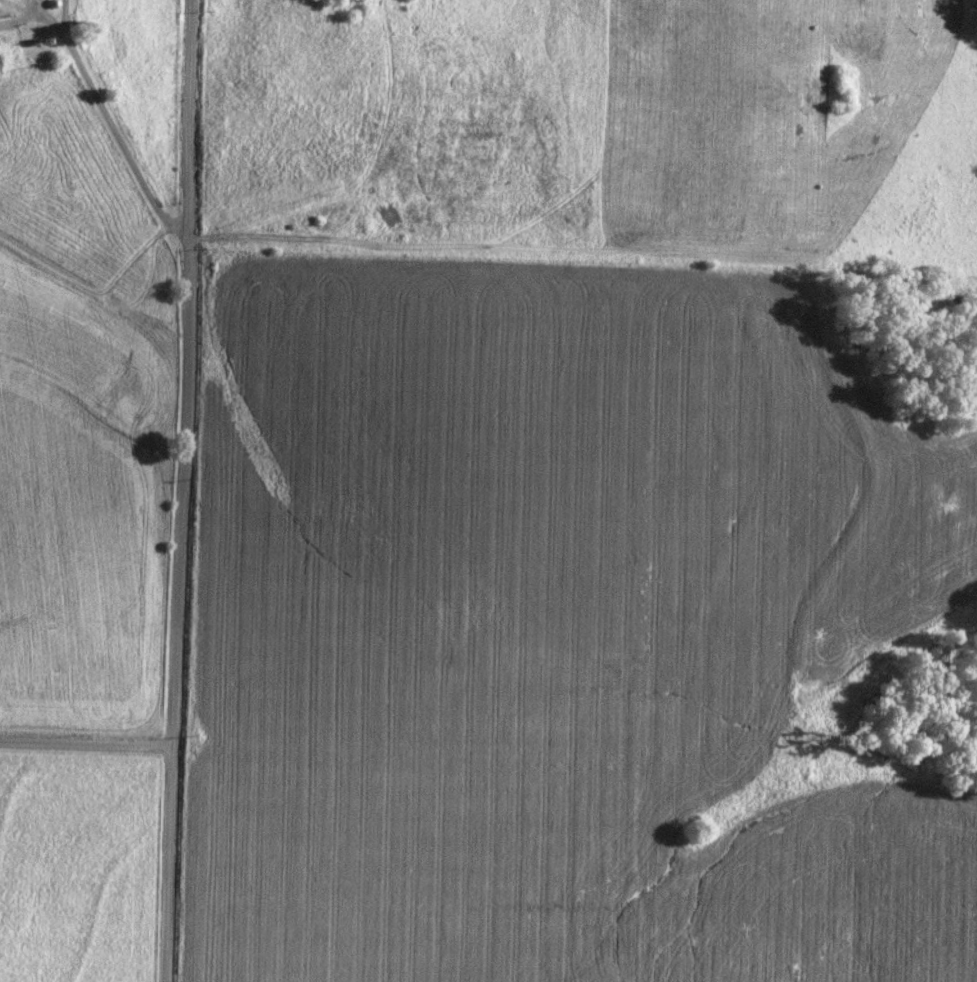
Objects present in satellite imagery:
building: (45, 40)
road: (110, 121)
road: (181, 491)
road: (85, 746)

